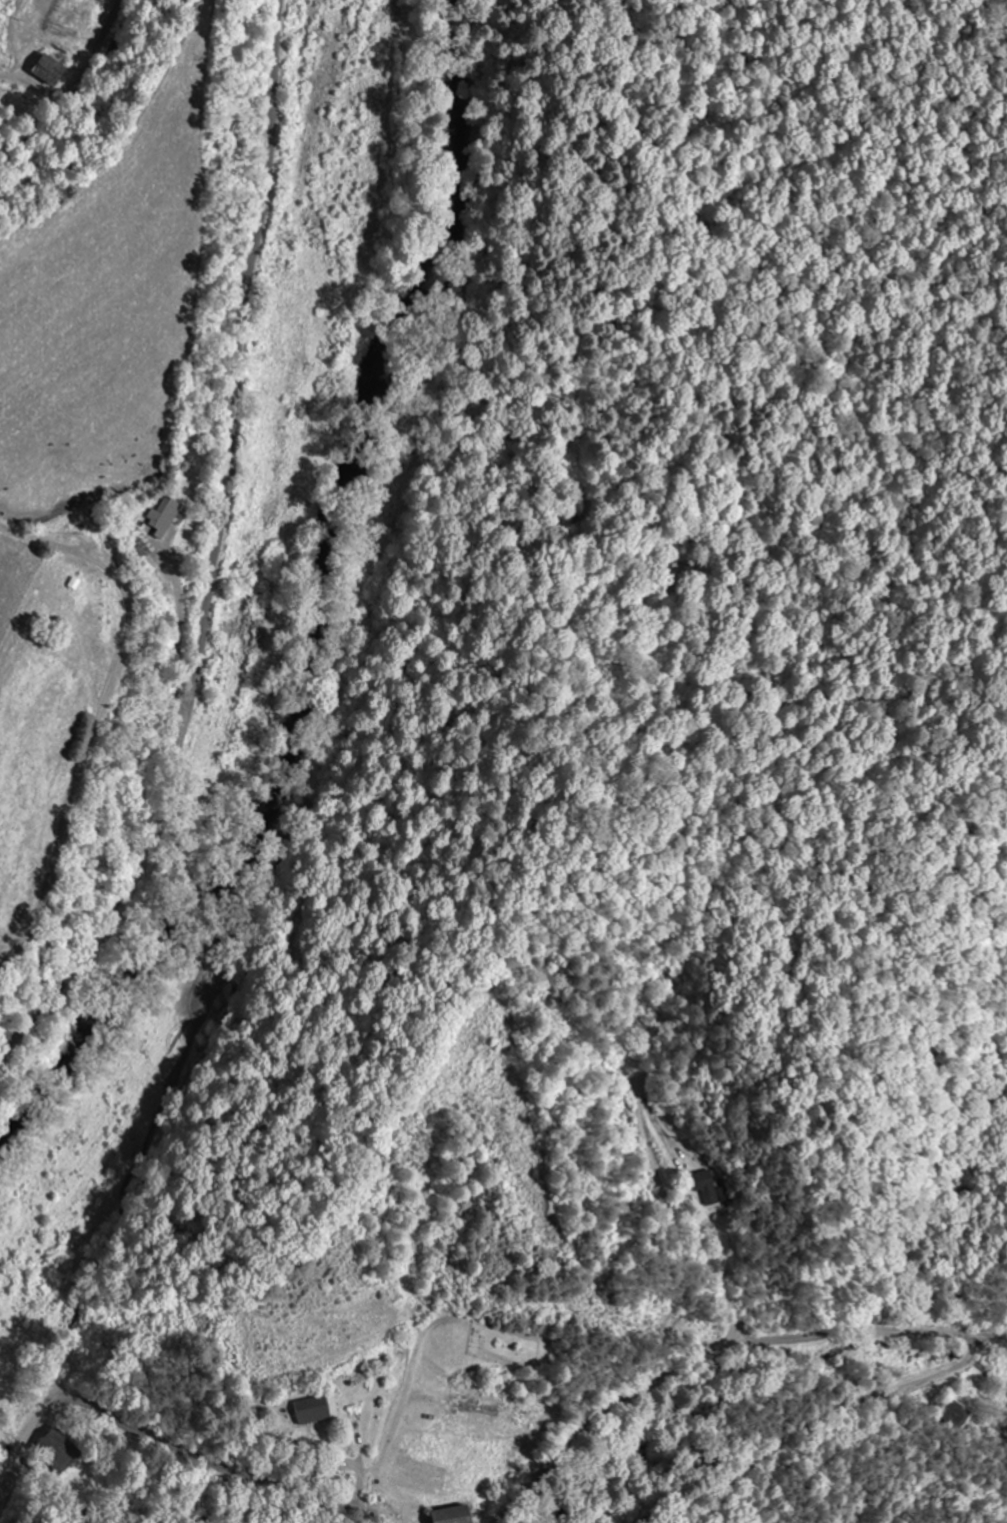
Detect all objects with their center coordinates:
building: (50, 69)
building: (166, 517)
road: (214, 555)
road: (137, 1156)
building: (710, 1188)
road: (705, 1351)
road: (841, 1406)
building: (313, 1409)
building: (59, 1451)
road: (195, 1458)
building: (453, 1514)

